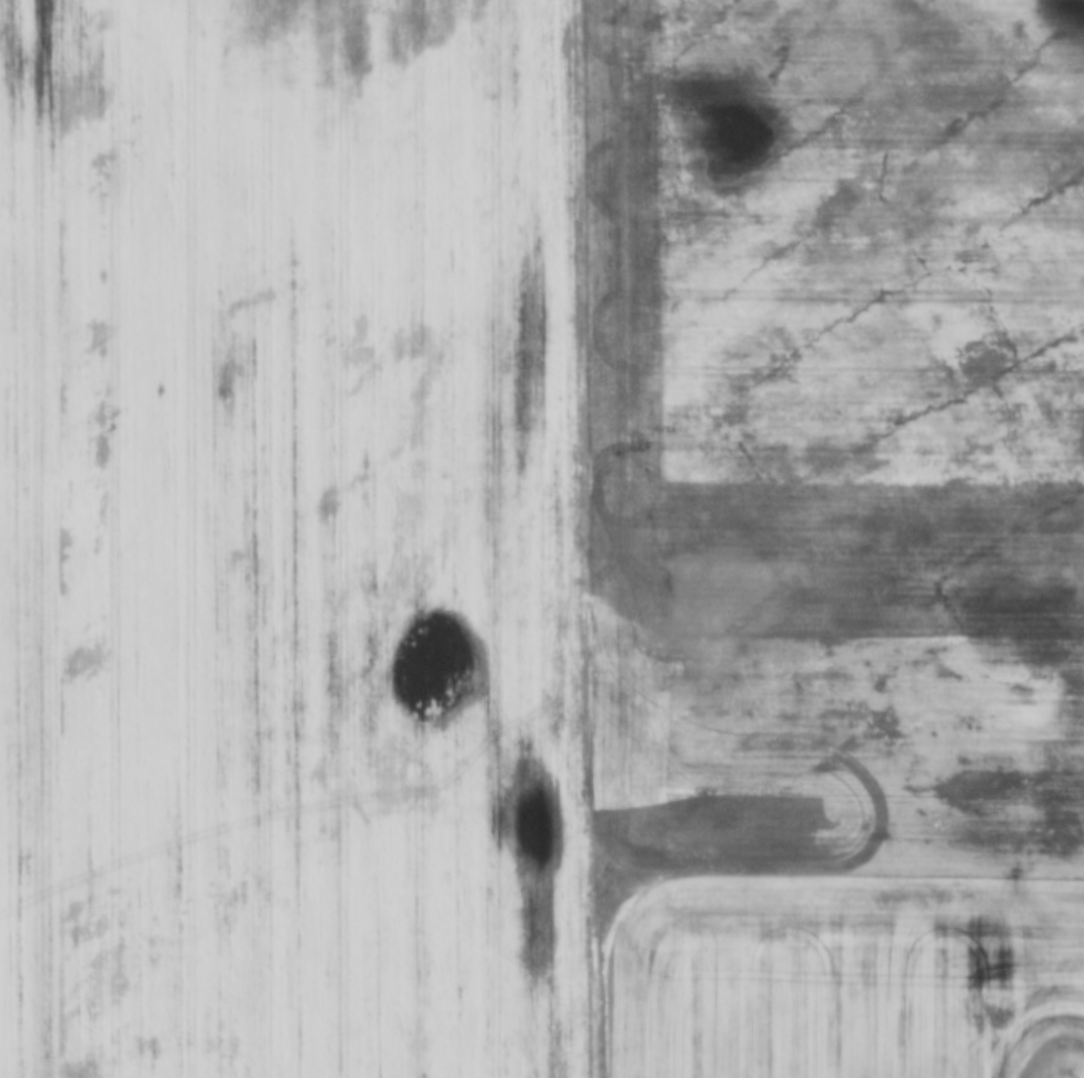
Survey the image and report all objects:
road: (588, 539)

